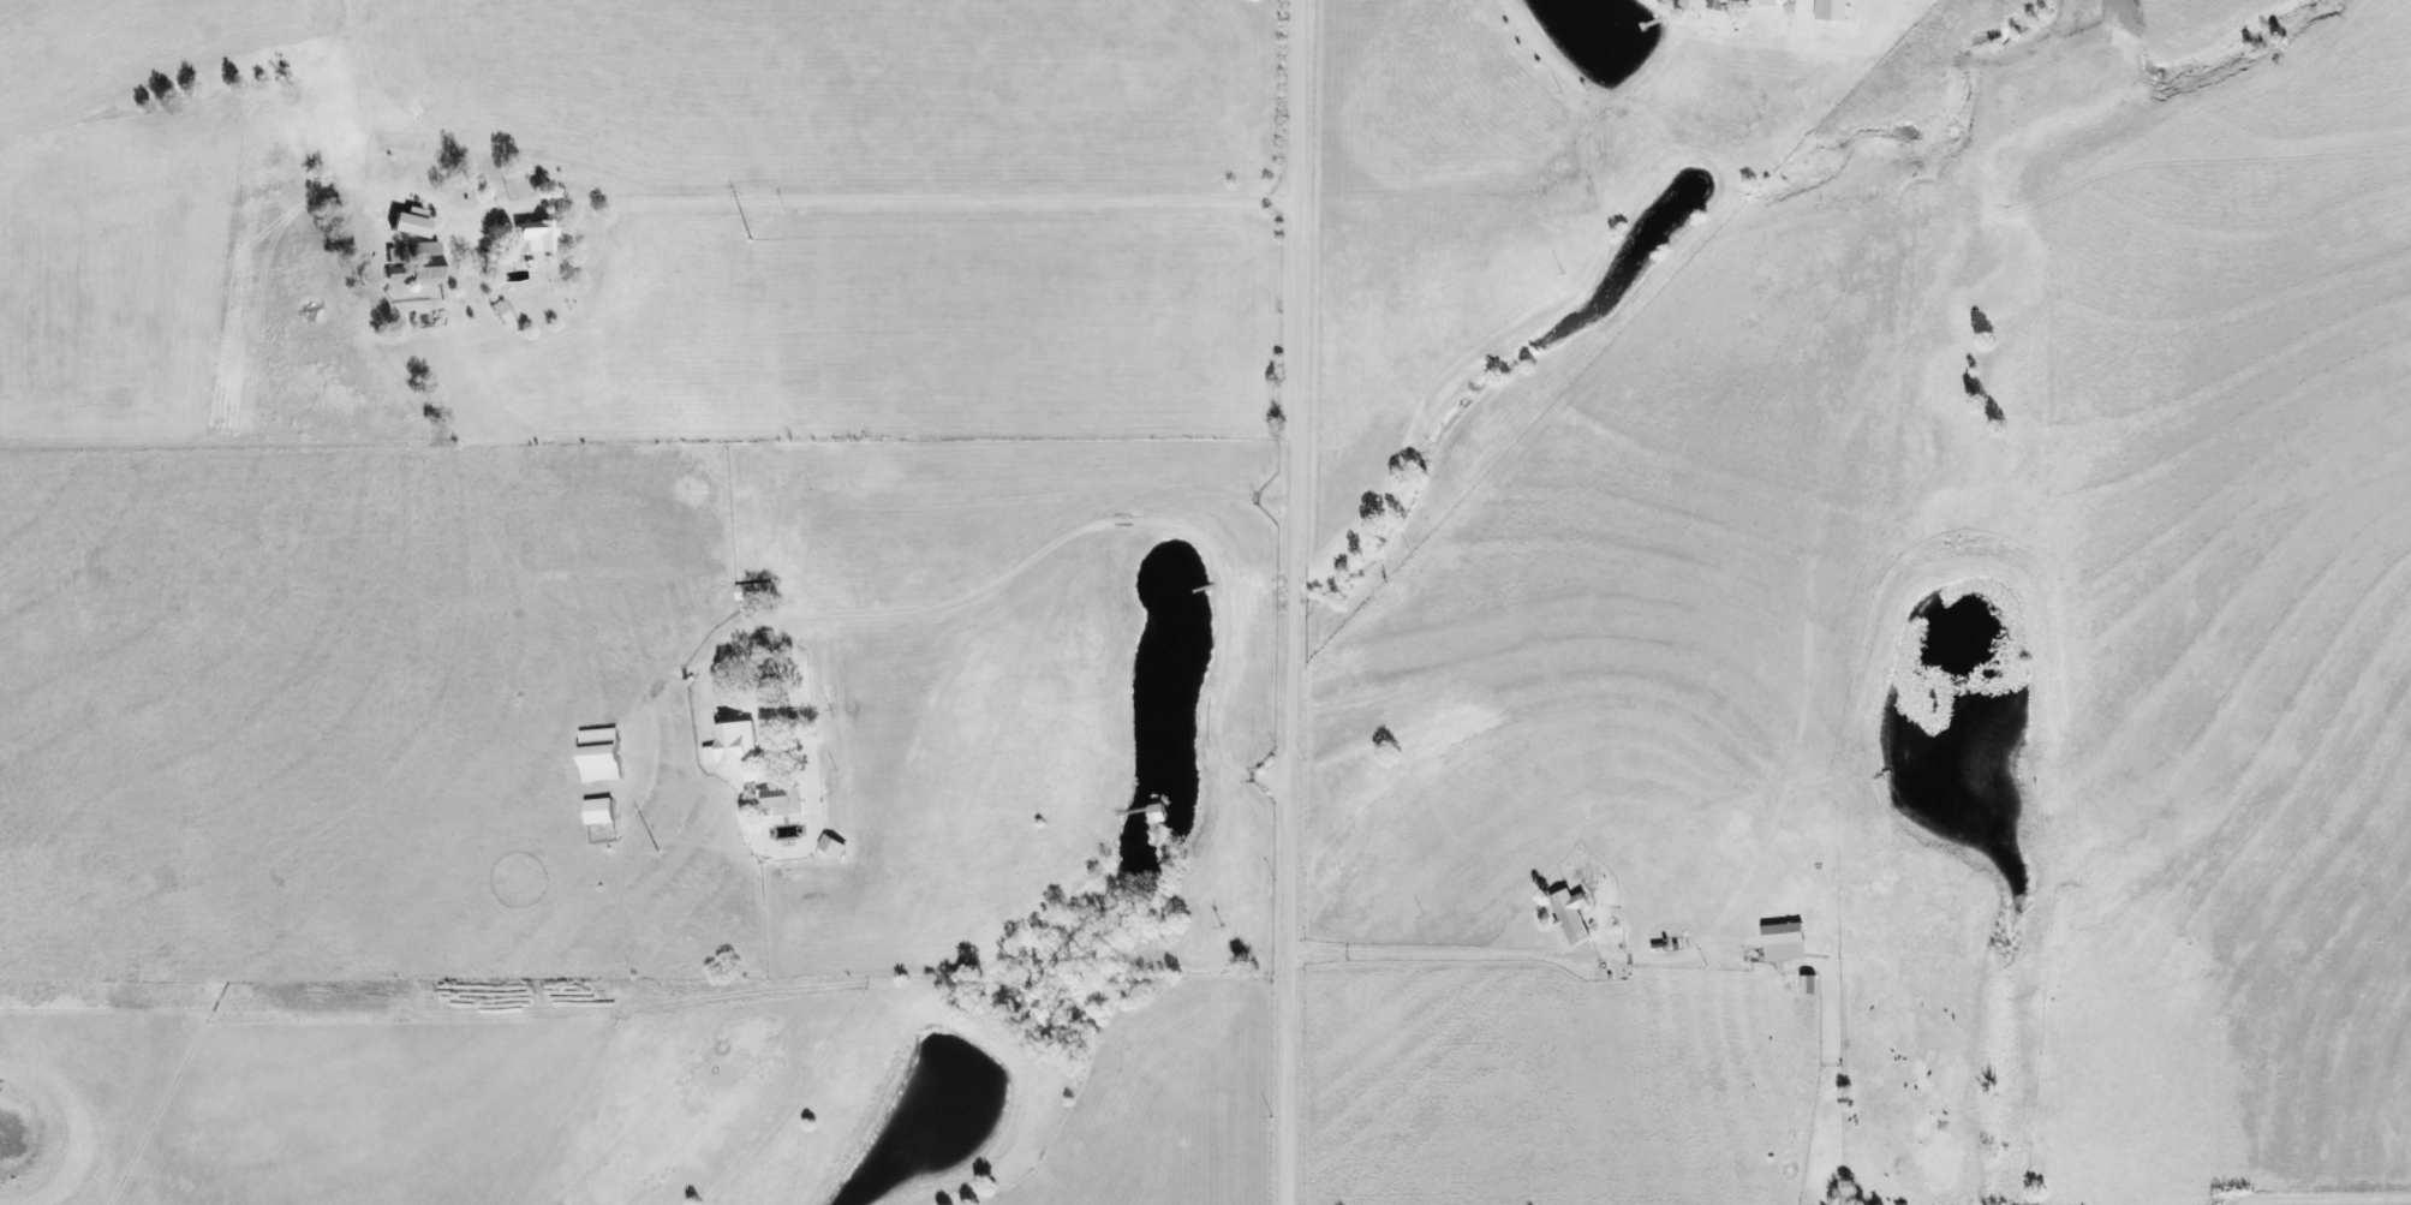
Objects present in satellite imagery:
building: (1767, 2)
building: (1715, 4)
building: (1691, 5)
building: (1831, 8)
road: (966, 187)
building: (408, 223)
building: (533, 237)
power tower: (751, 241)
building: (423, 250)
building: (423, 274)
building: (501, 311)
road: (1057, 529)
building: (752, 591)
road: (1300, 602)
building: (732, 744)
building: (598, 754)
building: (780, 800)
building: (597, 811)
building: (831, 846)
power tower: (657, 854)
building: (1570, 914)
building: (1783, 942)
building: (1808, 984)

